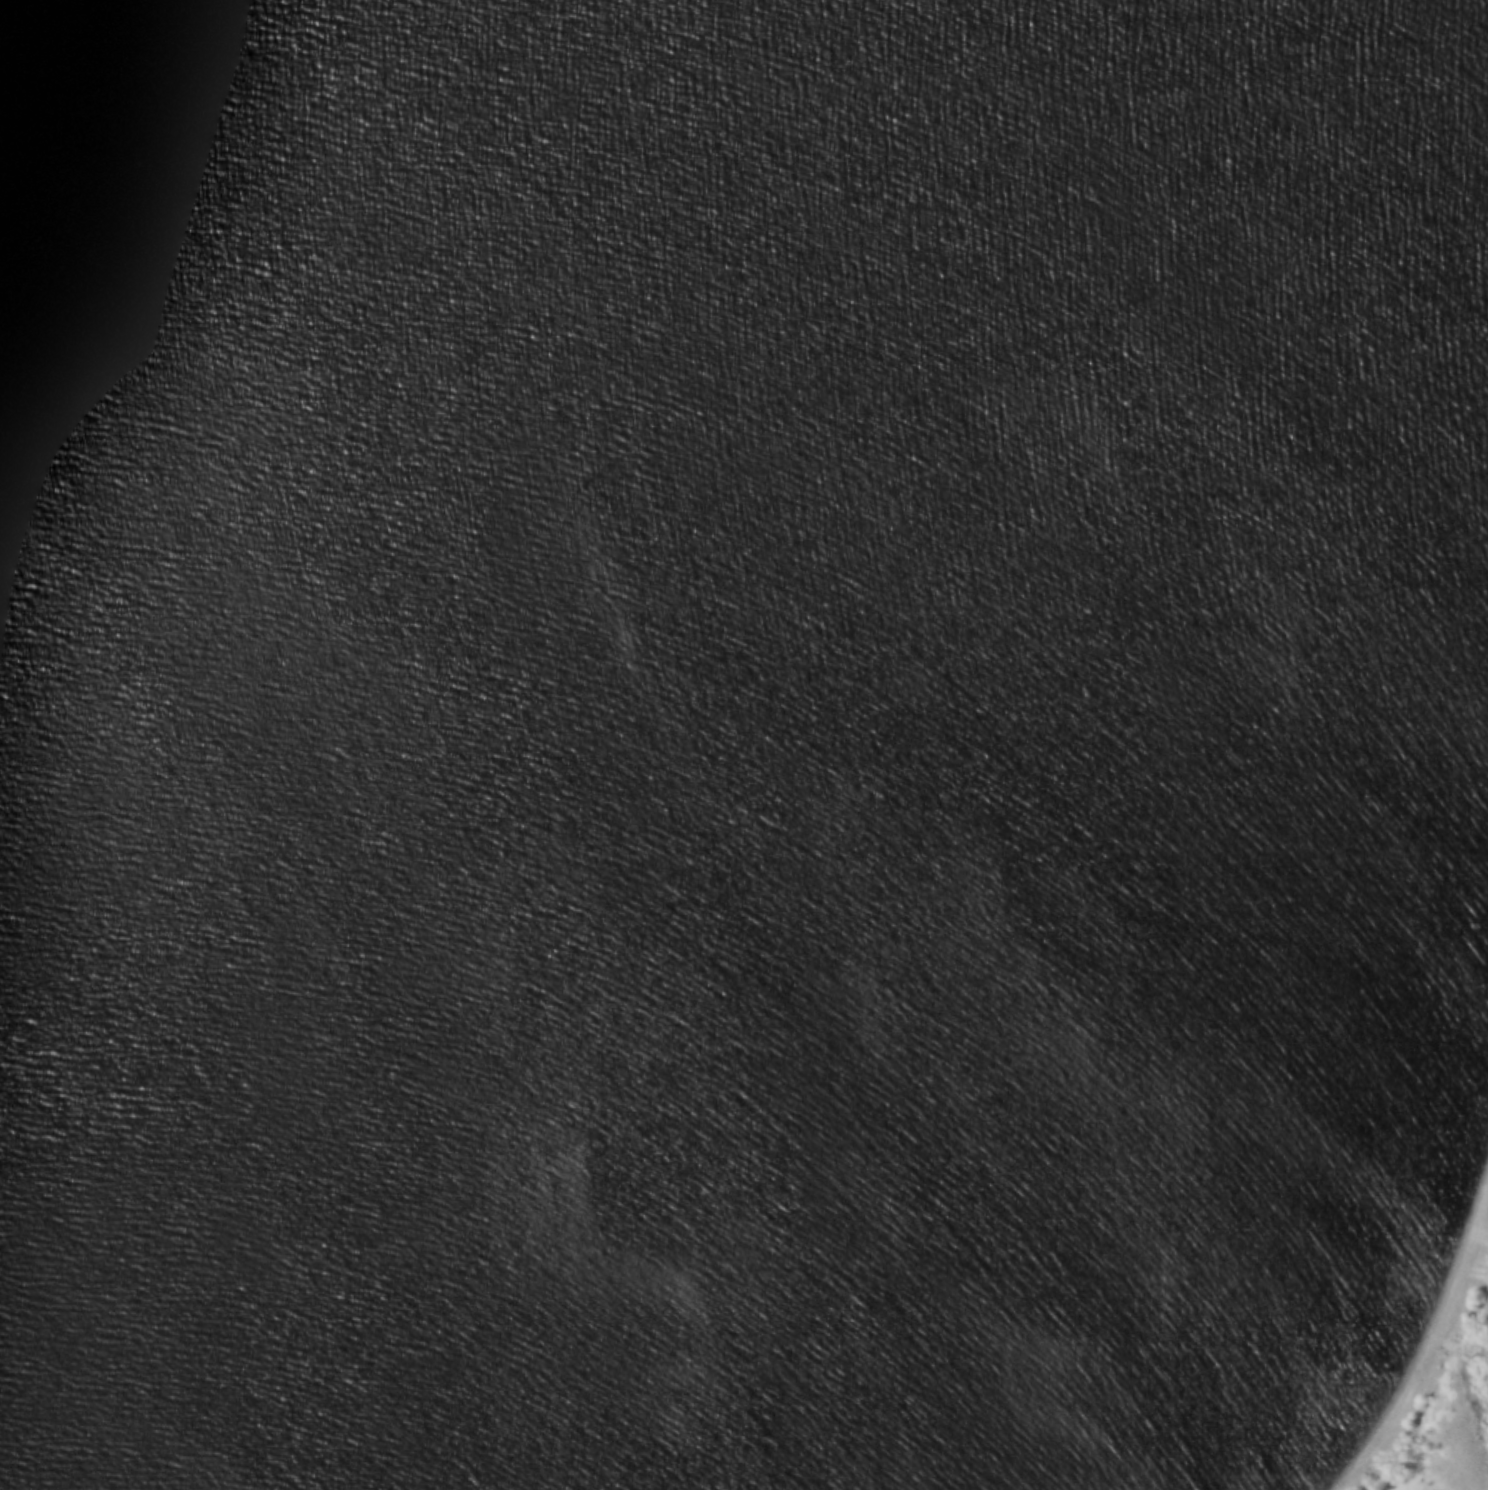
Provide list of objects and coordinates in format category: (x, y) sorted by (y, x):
river: (610, 367)

